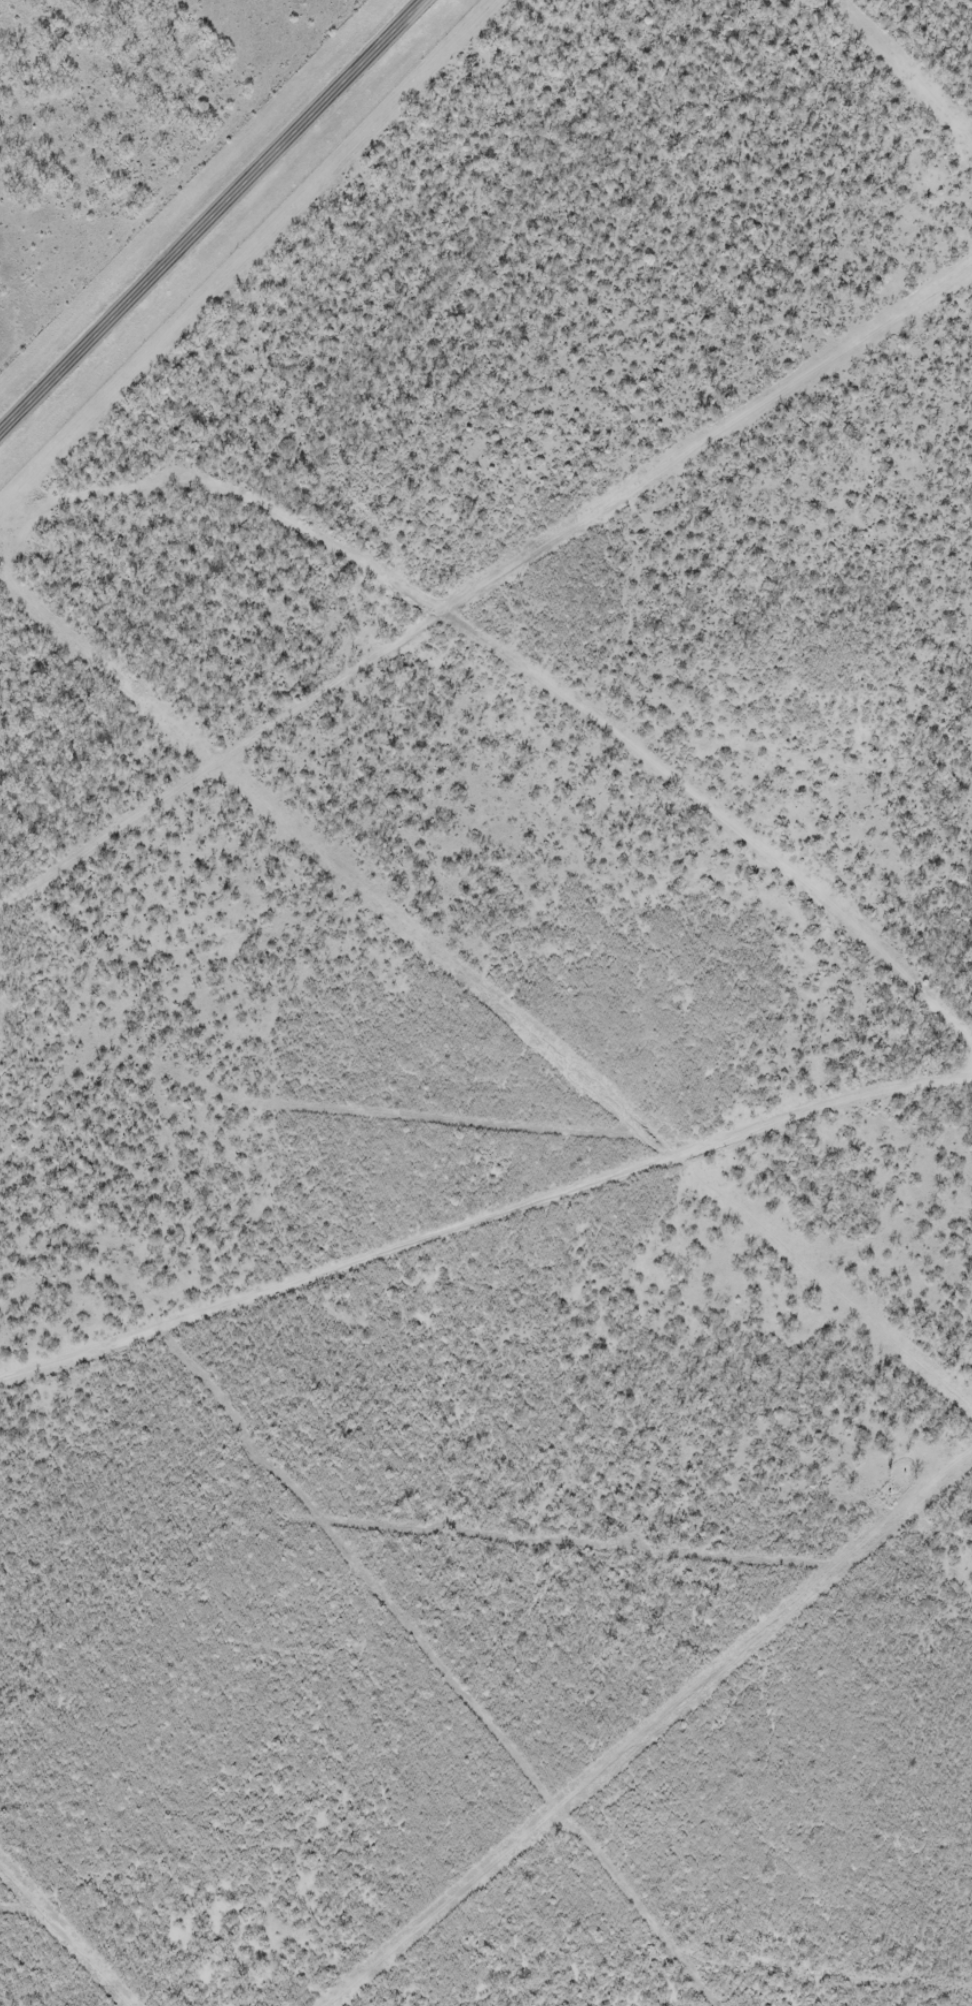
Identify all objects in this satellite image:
road: (261, 54)
road: (213, 218)
road: (531, 683)
road: (482, 1236)

